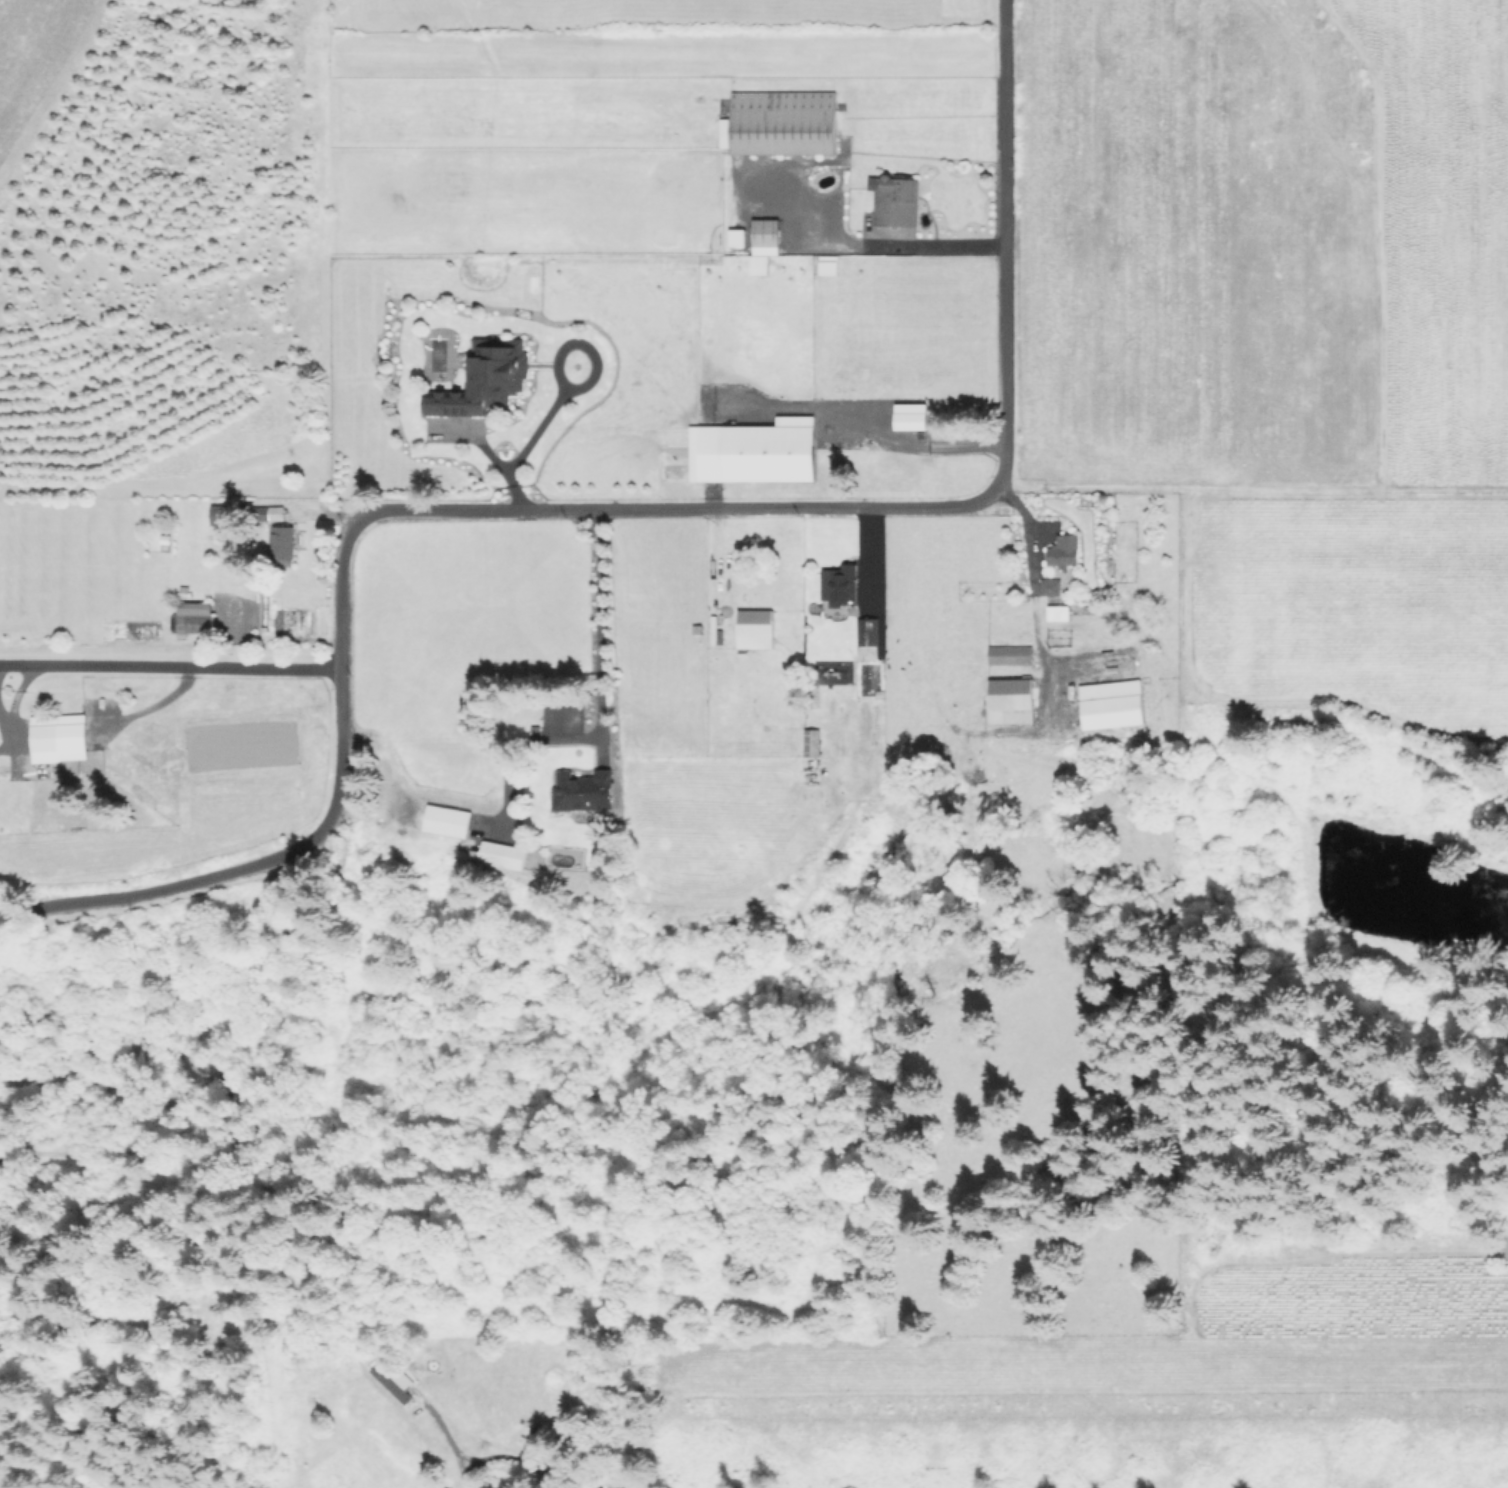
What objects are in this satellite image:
building: (781, 123)
building: (896, 201)
building: (766, 237)
building: (737, 238)
road: (878, 246)
building: (845, 265)
building: (846, 377)
building: (481, 382)
building: (832, 426)
road: (526, 434)
road: (926, 447)
building: (751, 455)
building: (895, 475)
road: (1250, 486)
building: (1087, 502)
road: (596, 508)
building: (272, 514)
building: (219, 515)
building: (256, 516)
building: (285, 546)
building: (1065, 551)
building: (844, 585)
building: (1051, 587)
building: (1059, 612)
building: (190, 620)
building: (698, 629)
building: (756, 629)
road: (598, 634)
building: (869, 639)
building: (1011, 655)
road: (169, 666)
building: (1011, 701)
building: (1112, 703)
building: (534, 728)
building: (1055, 737)
building: (812, 743)
building: (60, 749)
building: (582, 790)
building: (448, 821)
building: (500, 855)
building: (324, 1348)
building: (390, 1379)
road: (475, 1460)
road: (466, 1474)

